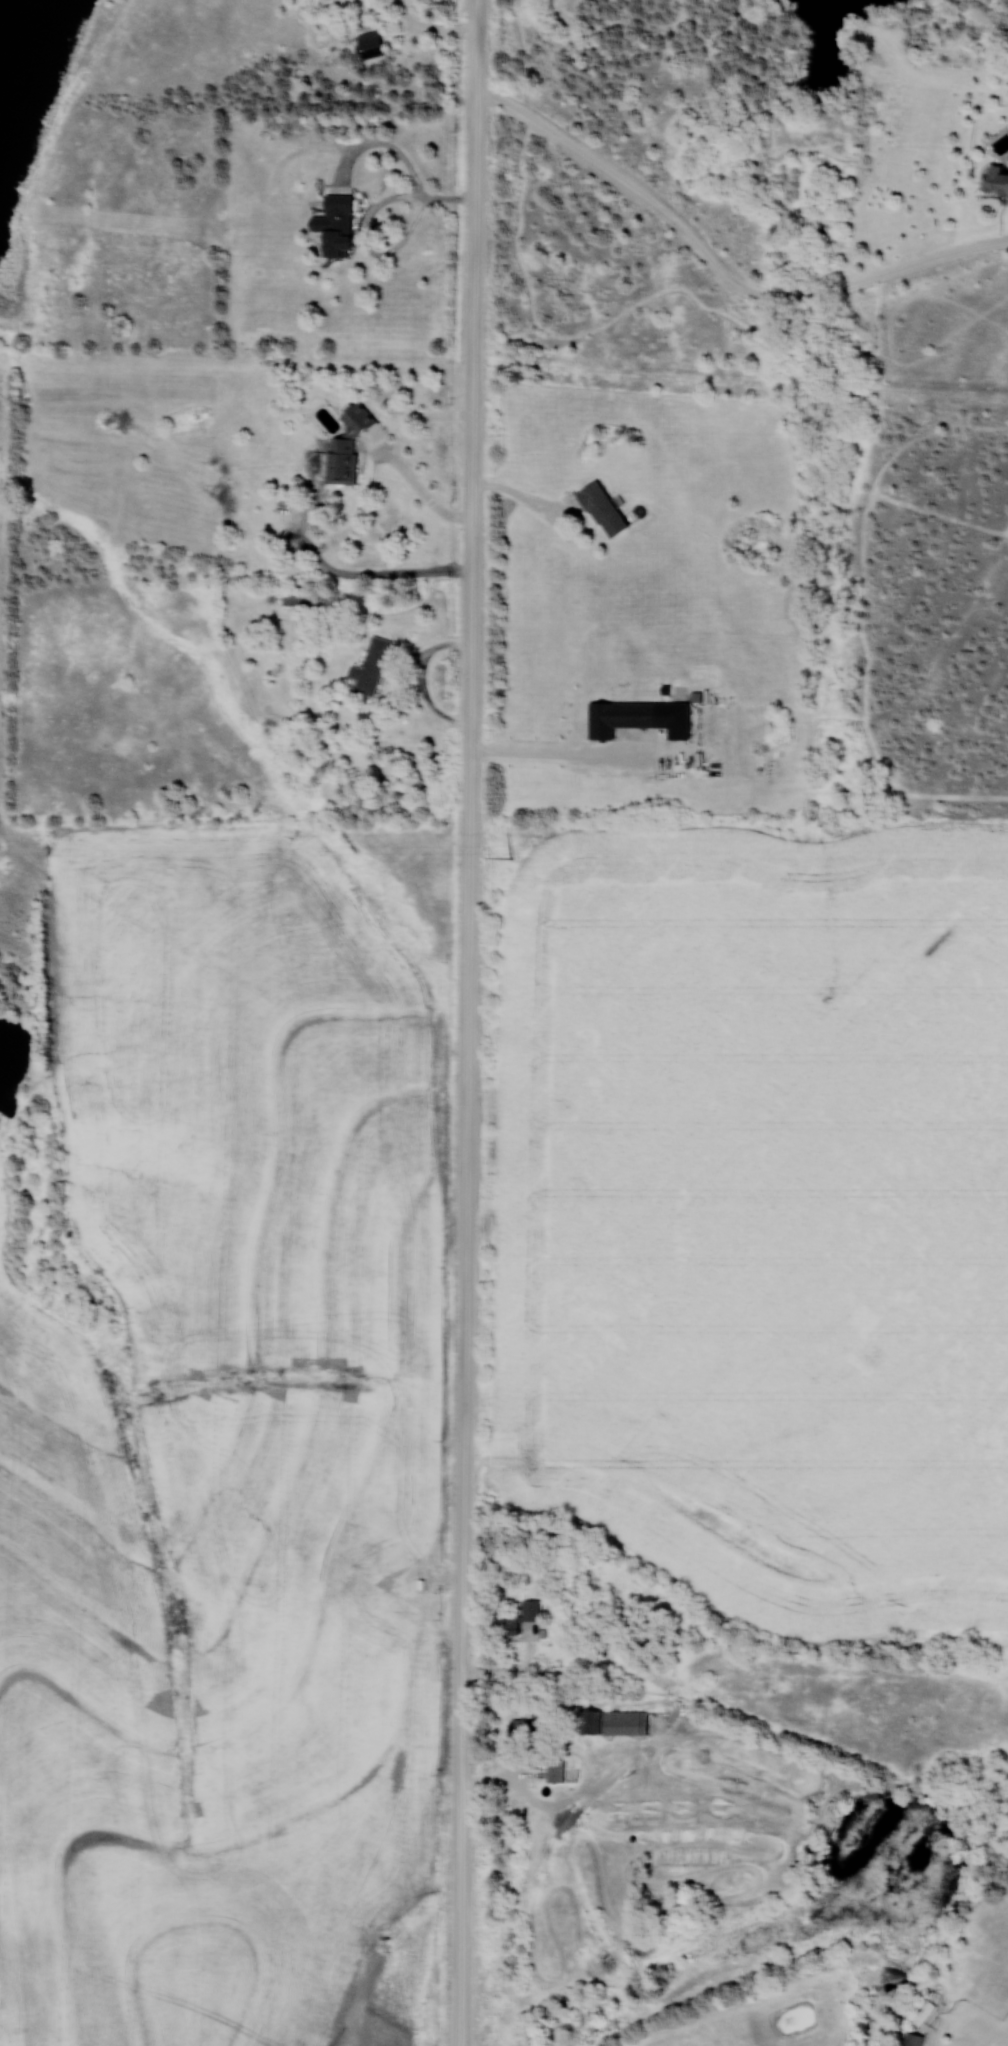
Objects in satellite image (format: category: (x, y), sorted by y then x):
road: (431, 31)
building: (368, 45)
building: (995, 181)
road: (367, 224)
building: (336, 225)
road: (720, 268)
building: (344, 447)
road: (401, 457)
road: (527, 499)
building: (600, 509)
building: (292, 598)
building: (369, 667)
road: (422, 679)
building: (620, 717)
road: (555, 753)
power tower: (509, 856)
road: (470, 1024)
crop: (229, 1471)
building: (528, 1610)
building: (530, 1719)
building: (610, 1721)
building: (553, 1765)
building: (923, 2013)
building: (911, 2039)
road: (1002, 2041)

